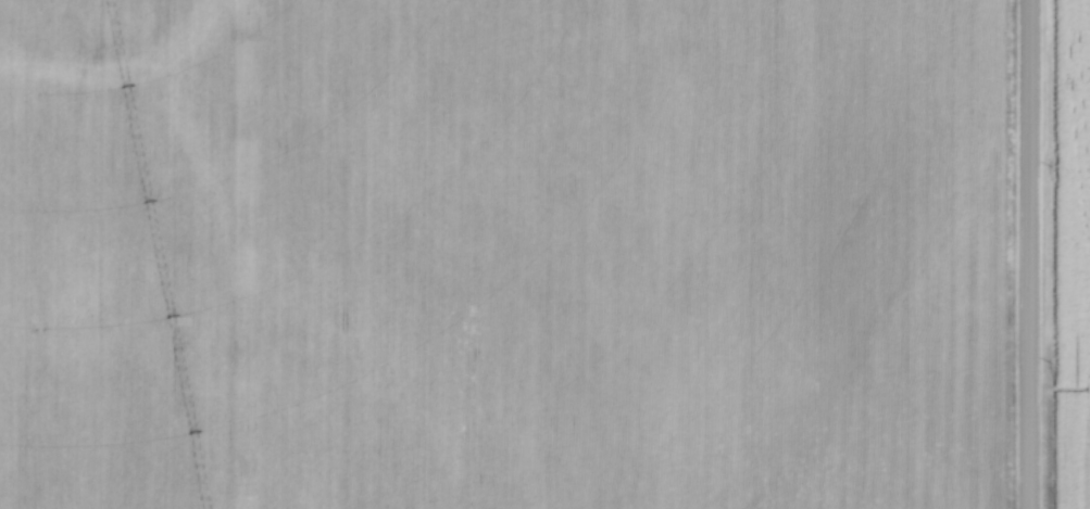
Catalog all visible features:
road: (1023, 254)

